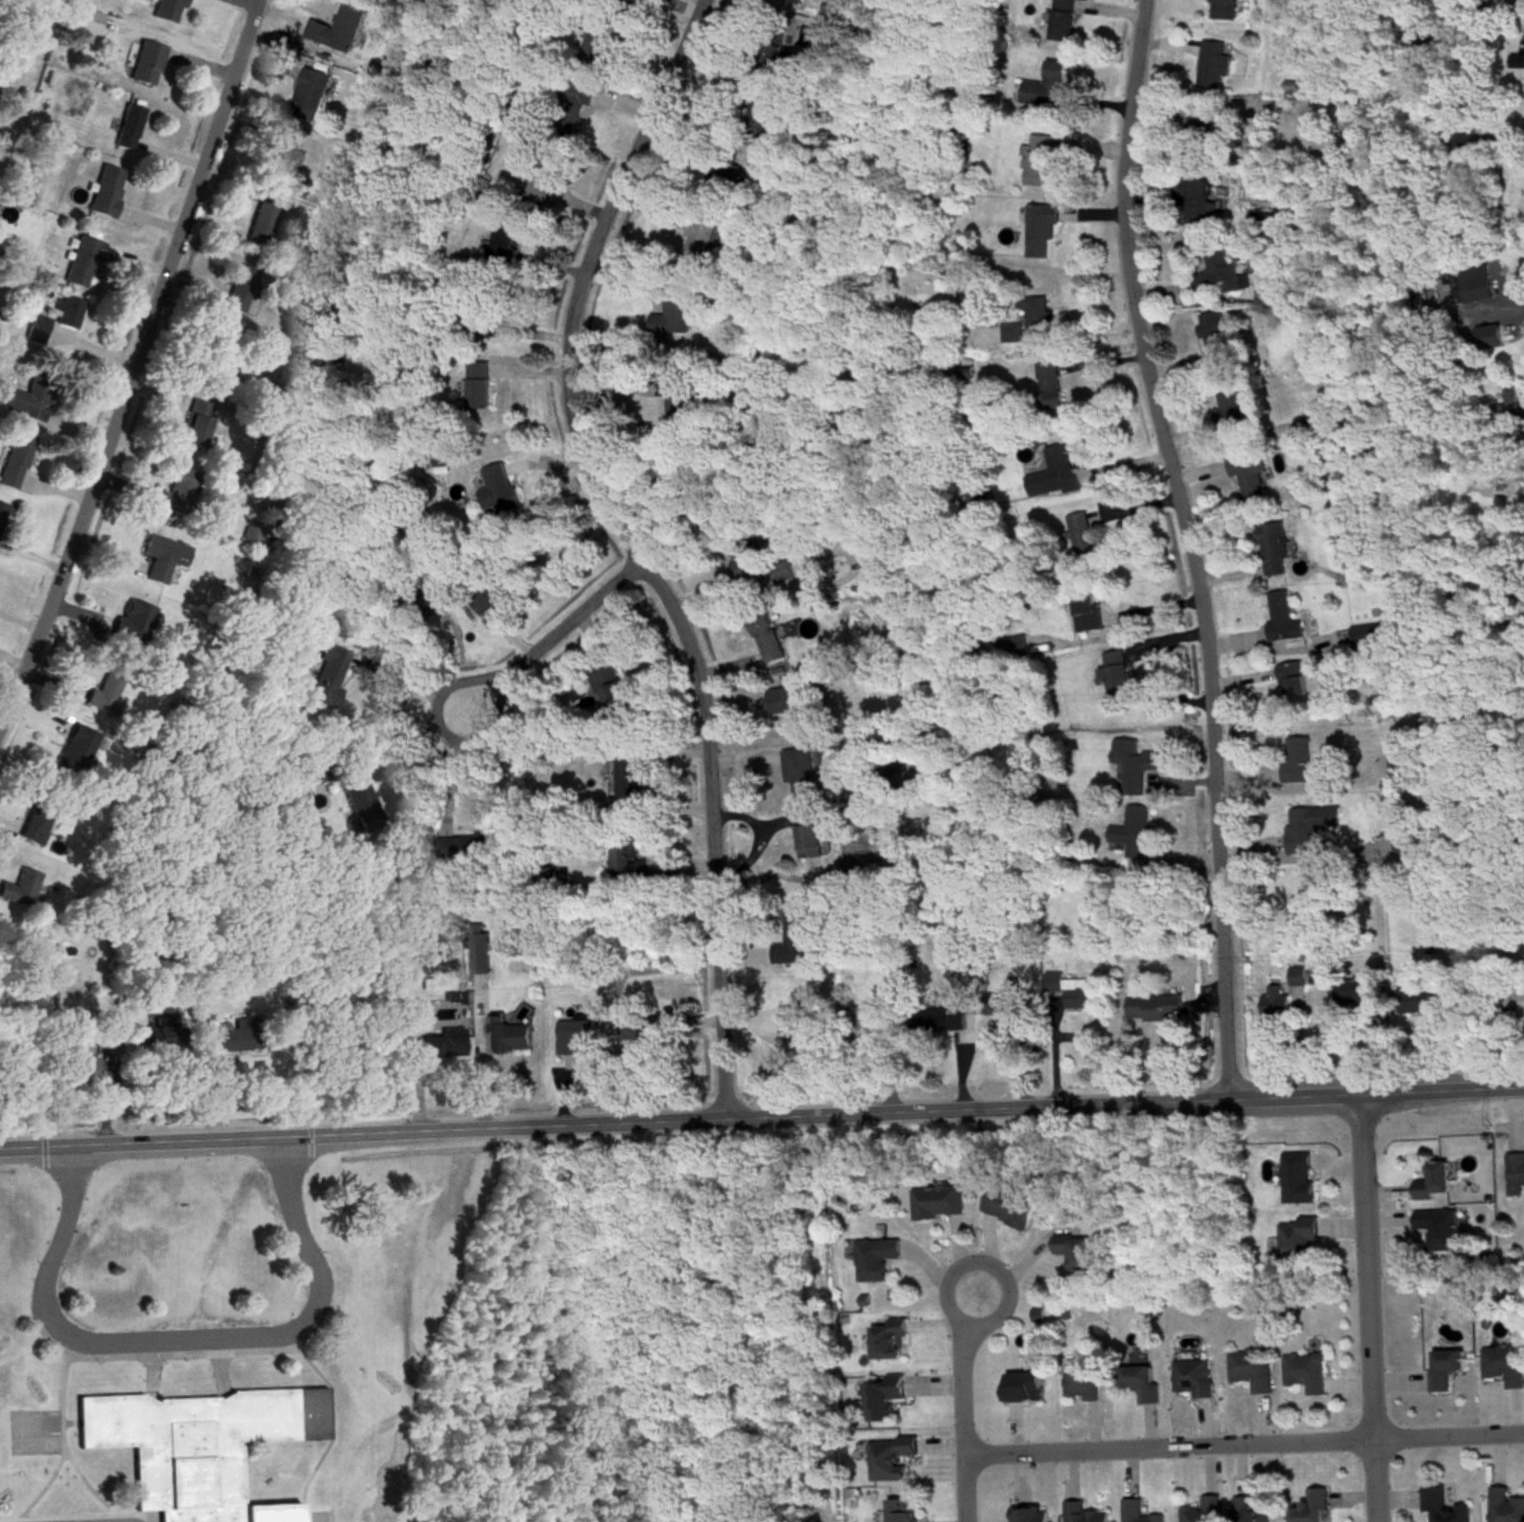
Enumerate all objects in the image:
building: (794, 1)
building: (618, 2)
building: (1223, 8)
building: (164, 10)
building: (82, 19)
building: (1061, 19)
building: (594, 40)
building: (769, 48)
building: (1523, 48)
building: (144, 61)
building: (1212, 63)
building: (1045, 85)
building: (308, 92)
building: (570, 105)
building: (760, 110)
building: (125, 125)
building: (1200, 130)
building: (1457, 137)
building: (281, 153)
building: (1036, 159)
building: (103, 189)
building: (1195, 198)
building: (261, 218)
building: (1040, 229)
building: (502, 238)
building: (694, 244)
building: (79, 260)
building: (1218, 270)
building: (1472, 281)
building: (238, 286)
building: (65, 310)
building: (1034, 311)
building: (670, 317)
building: (1009, 332)
building: (1214, 337)
building: (214, 355)
road: (131, 362)
building: (476, 383)
building: (1048, 383)
building: (24, 399)
building: (679, 404)
building: (1232, 409)
building: (194, 422)
building: (1312, 424)
building: (13, 458)
building: (1052, 471)
building: (1248, 476)
building: (494, 484)
road: (1102, 487)
building: (176, 488)
building: (974, 497)
building: (249, 529)
building: (1081, 535)
building: (860, 537)
road: (1190, 545)
road: (629, 546)
building: (1272, 547)
building: (870, 554)
building: (161, 555)
building: (755, 562)
road: (721, 586)
building: (490, 591)
building: (1085, 609)
building: (1282, 615)
building: (130, 619)
road: (553, 629)
building: (1366, 633)
building: (764, 635)
building: (1008, 648)
road: (1165, 663)
building: (1112, 670)
building: (325, 674)
building: (1291, 678)
road: (412, 682)
building: (610, 686)
building: (102, 689)
building: (788, 701)
road: (411, 724)
building: (74, 750)
building: (1297, 759)
road: (455, 761)
building: (1133, 762)
building: (798, 769)
building: (308, 773)
road: (653, 773)
building: (628, 784)
building: (358, 804)
building: (35, 818)
building: (1309, 825)
building: (1132, 830)
building: (810, 831)
building: (1416, 842)
building: (464, 845)
building: (625, 860)
building: (18, 887)
building: (790, 938)
building: (478, 950)
building: (1298, 974)
building: (1071, 989)
building: (1356, 992)
building: (1423, 996)
building: (1522, 997)
building: (1274, 1000)
building: (999, 1003)
building: (1153, 1005)
building: (936, 1018)
building: (865, 1019)
building: (648, 1023)
building: (99, 1031)
building: (572, 1034)
building: (235, 1035)
building: (507, 1035)
building: (435, 1043)
road: (1056, 1048)
road: (480, 1054)
building: (206, 1067)
building: (76, 1068)
road: (761, 1112)
building: (1514, 1173)
building: (1296, 1177)
building: (1432, 1181)
building: (936, 1201)
building: (1006, 1206)
building: (1437, 1227)
building: (1297, 1236)
building: (1071, 1252)
building: (874, 1257)
road: (984, 1261)
road: (1363, 1264)
road: (185, 1333)
building: (886, 1339)
building: (1503, 1363)
building: (1443, 1367)
building: (1250, 1368)
building: (1304, 1371)
building: (1191, 1377)
building: (1080, 1380)
building: (1138, 1382)
building: (1022, 1386)
building: (882, 1396)
road: (963, 1428)
road: (1244, 1443)
building: (196, 1444)
building: (889, 1455)
road: (1376, 1481)
building: (1441, 1505)
building: (1504, 1505)
building: (1309, 1506)
building: (899, 1509)
building: (1202, 1510)
building: (1248, 1510)
building: (1137, 1511)
building: (1082, 1512)
building: (1028, 1513)

